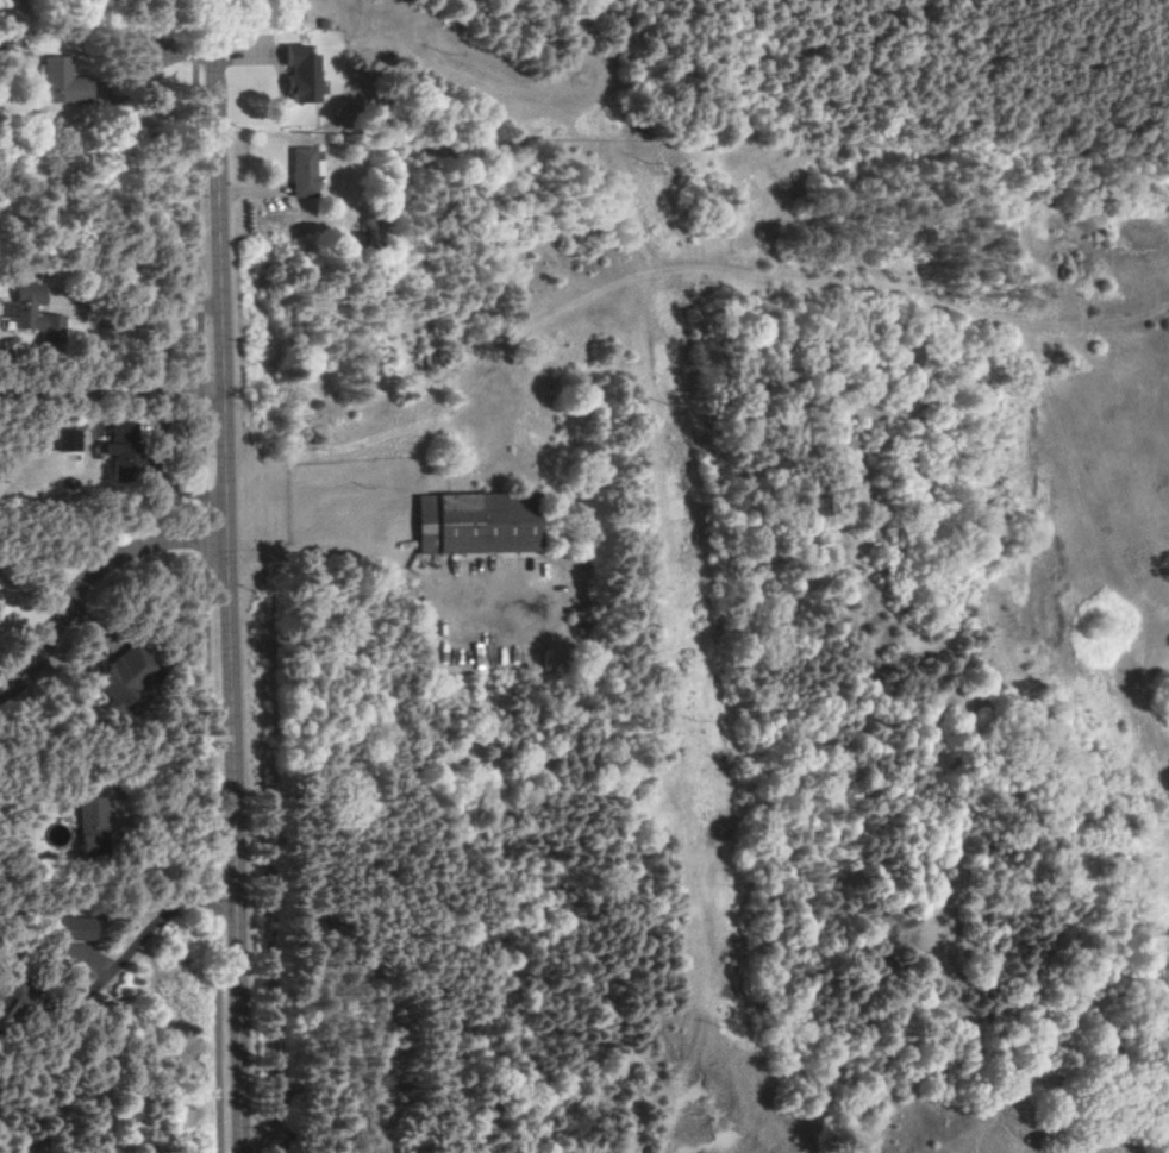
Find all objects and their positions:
building: (305, 75)
park: (894, 76)
building: (64, 82)
road: (1080, 92)
building: (306, 173)
building: (35, 315)
road: (140, 319)
road: (113, 393)
building: (70, 440)
building: (127, 452)
building: (483, 524)
road: (382, 557)
road: (206, 576)
road: (227, 576)
road: (93, 587)
building: (126, 676)
building: (93, 825)
road: (152, 925)
building: (79, 928)
building: (11, 1010)

